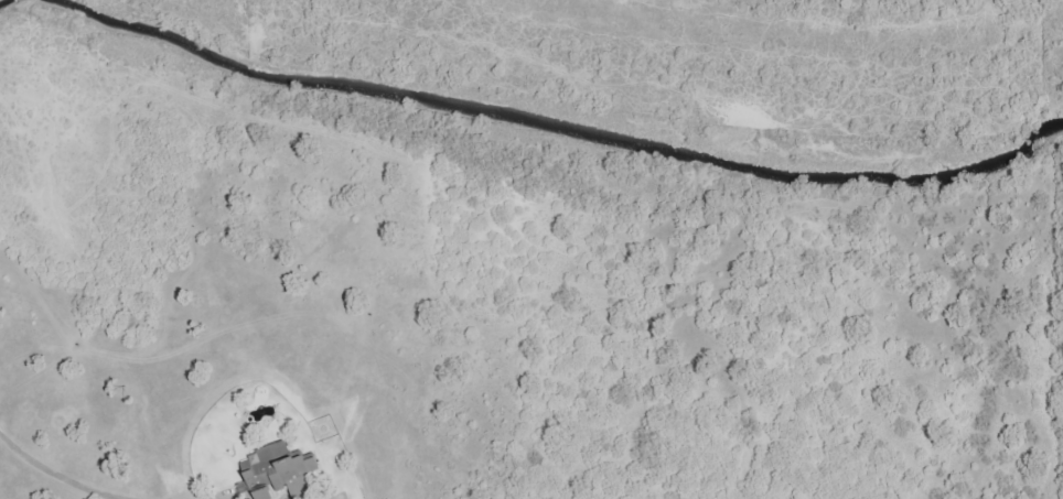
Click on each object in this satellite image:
building: (278, 469)

